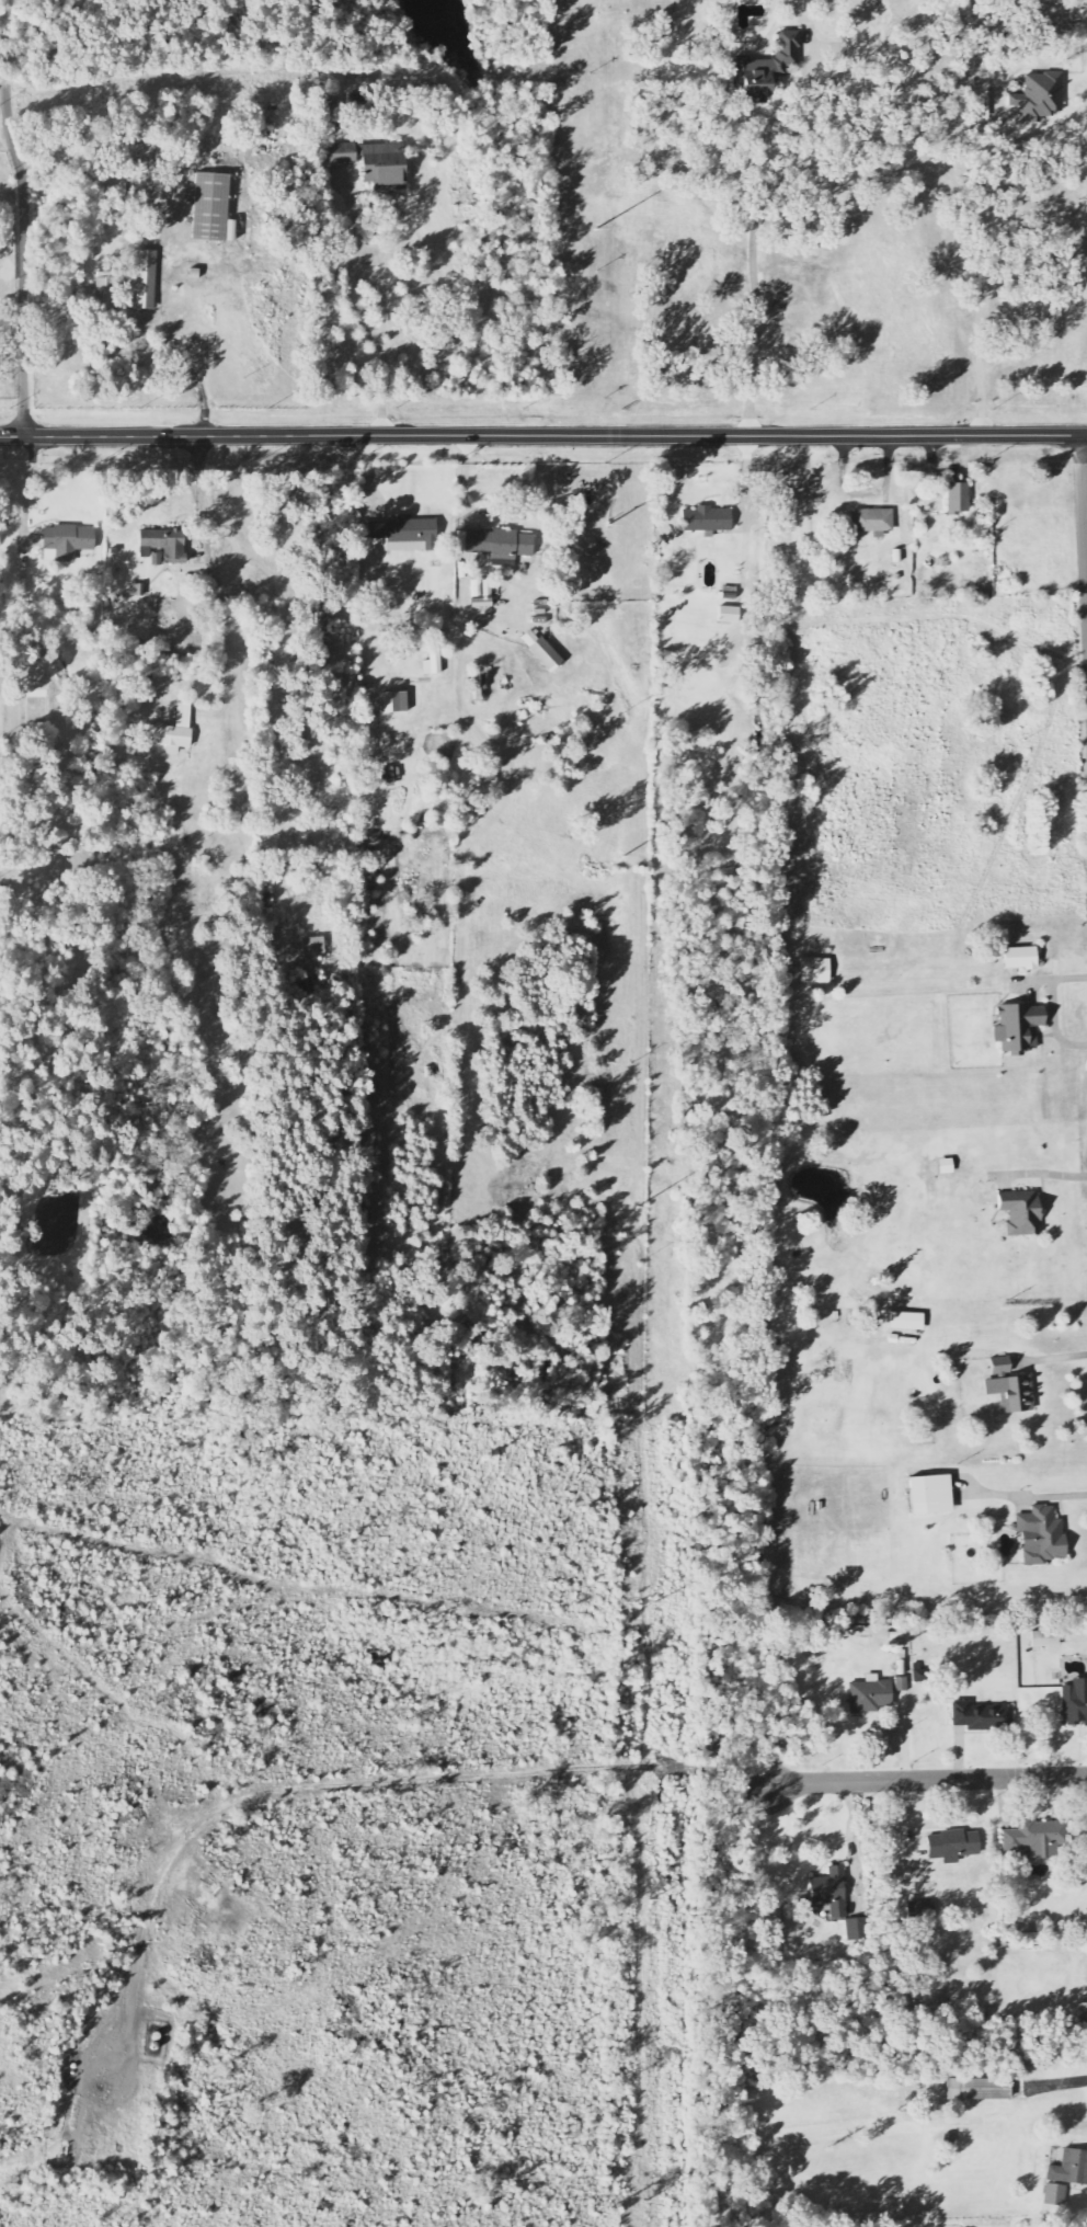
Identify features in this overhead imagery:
building: (766, 69)
building: (1039, 98)
building: (330, 116)
building: (213, 209)
road: (24, 216)
power tower: (596, 229)
building: (146, 281)
road: (160, 282)
building: (104, 293)
road: (356, 317)
road: (542, 435)
road: (1084, 489)
building: (958, 499)
building: (707, 519)
power tower: (607, 524)
building: (407, 534)
building: (69, 541)
building: (163, 544)
building: (499, 546)
building: (481, 594)
building: (730, 616)
building: (541, 651)
road: (279, 654)
building: (394, 703)
building: (173, 732)
building: (391, 776)
power tower: (622, 856)
building: (313, 949)
building: (1021, 959)
building: (815, 971)
building: (1019, 1028)
power tower: (634, 1207)
building: (1021, 1213)
building: (906, 1322)
building: (1010, 1392)
building: (930, 1495)
building: (1042, 1535)
power tower: (651, 1604)
building: (1045, 1640)
building: (902, 1684)
building: (871, 1695)
building: (1075, 1704)
building: (983, 1718)
road: (927, 1779)
road: (317, 1786)
building: (1035, 1838)
building: (953, 1846)
building: (831, 1893)
power tower: (647, 1901)
building: (856, 1930)
building: (1029, 1942)
building: (1083, 2022)
building: (979, 2090)
building: (1066, 2178)
power tower: (643, 2199)

